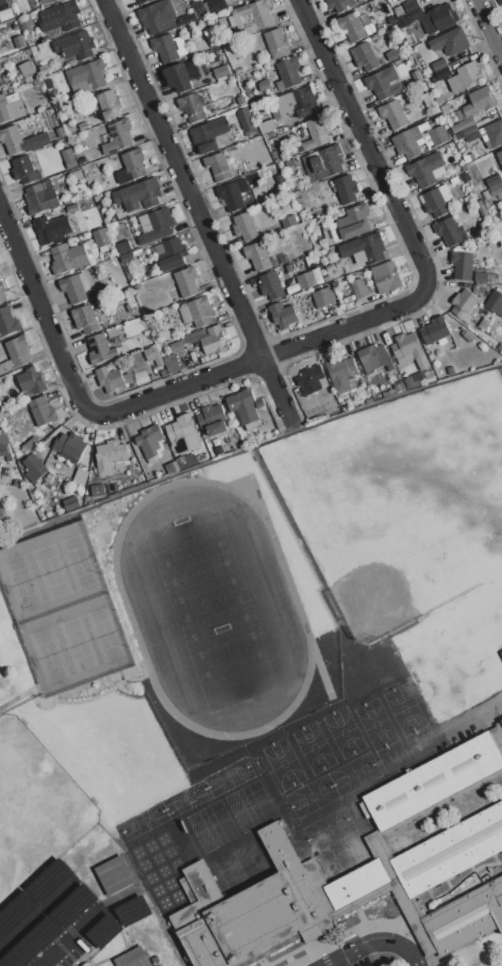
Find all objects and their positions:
building: (402, 0)
building: (45, 1)
building: (141, 1)
building: (341, 4)
building: (3, 5)
building: (215, 5)
building: (410, 5)
building: (399, 10)
building: (199, 12)
building: (256, 12)
building: (5, 14)
building: (412, 14)
building: (158, 16)
building: (443, 16)
building: (60, 17)
building: (391, 20)
building: (26, 23)
road: (489, 25)
building: (15, 27)
building: (353, 27)
building: (451, 41)
building: (19, 42)
building: (213, 43)
building: (276, 43)
building: (76, 44)
building: (166, 48)
building: (393, 54)
building: (367, 57)
building: (439, 65)
building: (43, 68)
building: (26, 69)
building: (238, 70)
building: (221, 72)
building: (288, 73)
building: (442, 73)
building: (88, 74)
building: (469, 74)
building: (416, 77)
building: (179, 78)
building: (0, 83)
building: (383, 83)
building: (454, 84)
building: (264, 85)
building: (246, 91)
building: (428, 100)
building: (438, 100)
building: (291, 102)
building: (109, 104)
building: (477, 105)
building: (191, 106)
building: (10, 107)
building: (444, 108)
building: (305, 111)
building: (392, 114)
building: (44, 115)
building: (245, 119)
building: (266, 126)
building: (68, 129)
building: (470, 133)
building: (495, 133)
building: (316, 134)
building: (211, 135)
building: (435, 136)
building: (118, 137)
building: (12, 139)
building: (36, 141)
building: (407, 142)
road: (364, 143)
building: (274, 153)
building: (500, 157)
building: (69, 158)
building: (290, 163)
building: (323, 163)
building: (131, 166)
building: (218, 167)
building: (462, 167)
building: (271, 169)
building: (425, 169)
building: (25, 170)
building: (76, 175)
building: (465, 177)
building: (453, 180)
building: (493, 180)
building: (346, 189)
building: (245, 192)
building: (138, 195)
building: (42, 196)
building: (231, 196)
building: (466, 199)
building: (438, 200)
building: (487, 200)
road: (195, 205)
building: (72, 208)
building: (481, 208)
building: (288, 221)
building: (351, 223)
building: (158, 226)
building: (245, 226)
building: (52, 228)
building: (450, 231)
building: (101, 238)
building: (123, 246)
building: (365, 248)
building: (171, 254)
building: (258, 255)
building: (126, 257)
building: (68, 258)
building: (311, 258)
building: (297, 264)
building: (462, 265)
building: (288, 268)
building: (317, 275)
building: (386, 277)
building: (480, 277)
building: (492, 277)
building: (305, 280)
building: (84, 281)
building: (187, 281)
building: (271, 285)
building: (359, 288)
building: (74, 289)
building: (2, 292)
building: (323, 297)
building: (98, 299)
building: (495, 303)
building: (464, 305)
building: (131, 307)
building: (197, 312)
road: (43, 314)
building: (283, 314)
building: (85, 318)
building: (8, 322)
building: (484, 323)
building: (152, 326)
building: (435, 330)
building: (114, 332)
building: (467, 335)
building: (148, 338)
building: (214, 340)
building: (177, 347)
building: (100, 349)
building: (409, 350)
building: (18, 351)
building: (154, 355)
road: (261, 358)
building: (374, 358)
building: (172, 363)
building: (6, 366)
building: (449, 370)
building: (341, 373)
building: (426, 373)
building: (109, 378)
building: (126, 378)
building: (311, 379)
building: (32, 380)
building: (412, 381)
building: (398, 387)
building: (259, 403)
building: (244, 407)
building: (42, 411)
building: (212, 419)
building: (182, 432)
building: (1, 439)
building: (150, 440)
building: (30, 444)
building: (71, 444)
road: (249, 449)
building: (3, 450)
building: (113, 451)
building: (219, 451)
building: (0, 461)
building: (32, 463)
building: (181, 463)
building: (0, 465)
building: (174, 466)
building: (30, 474)
building: (17, 482)
building: (125, 482)
park: (212, 610)
building: (501, 653)
building: (498, 731)
park: (34, 787)
building: (279, 848)
building: (451, 850)
building: (114, 874)
road: (36, 911)
building: (466, 917)
road: (82, 922)
road: (376, 945)
building: (133, 958)

